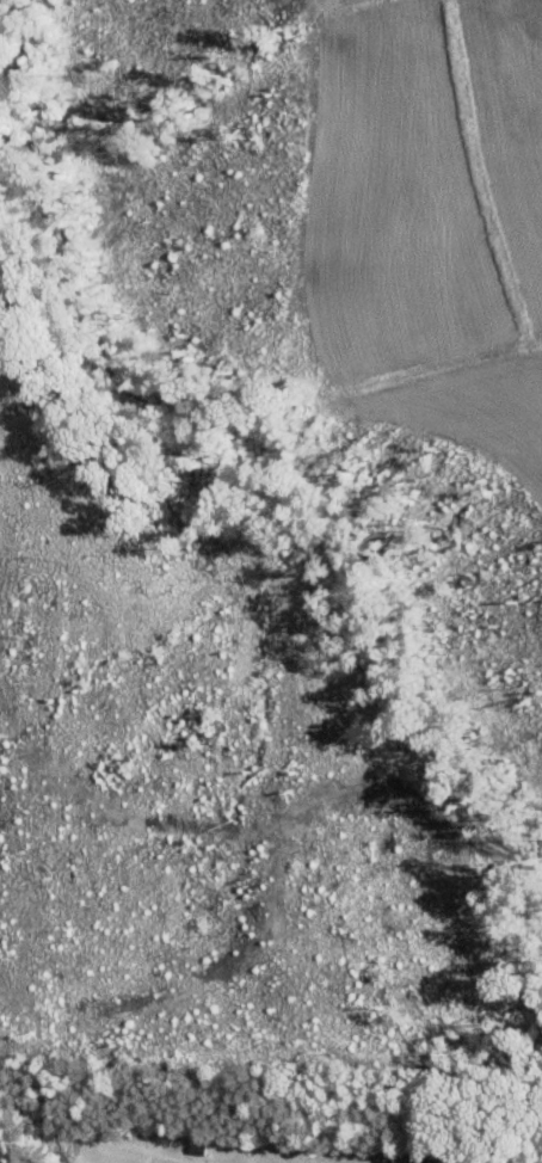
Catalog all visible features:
building: (392, 1162)

